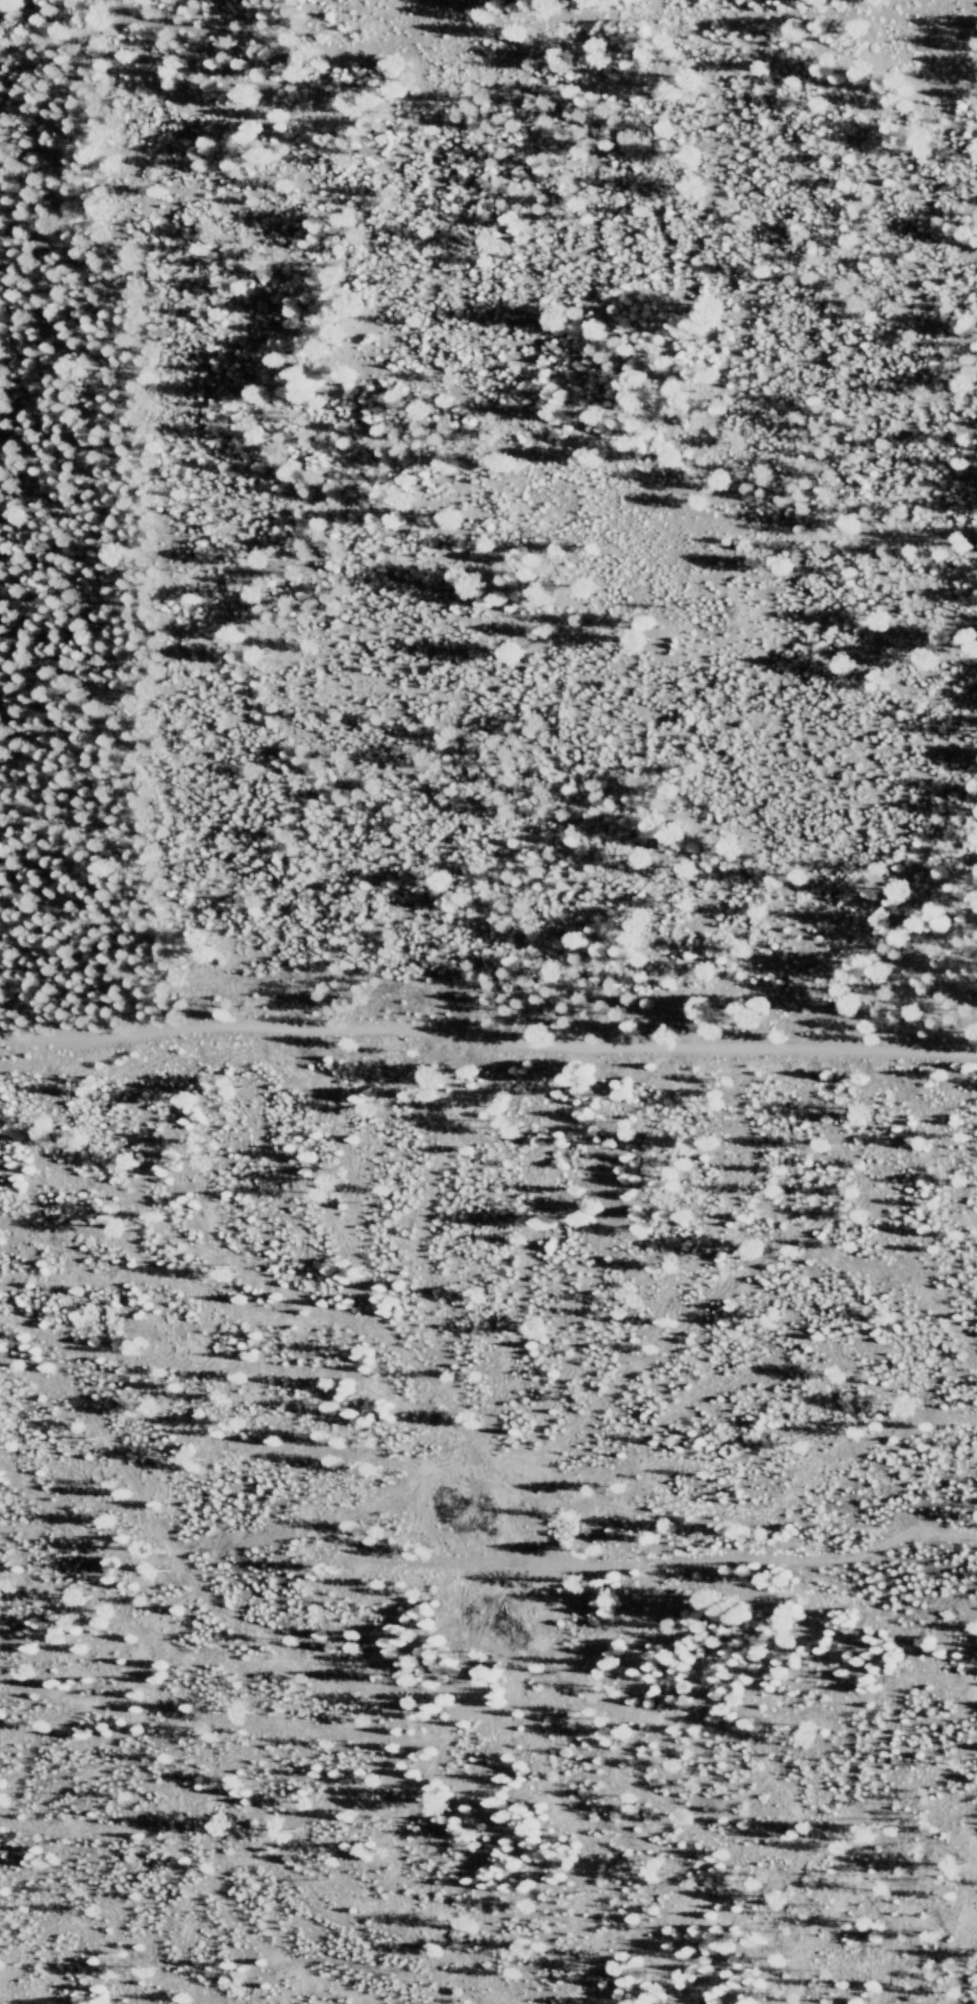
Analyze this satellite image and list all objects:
road: (488, 1036)

